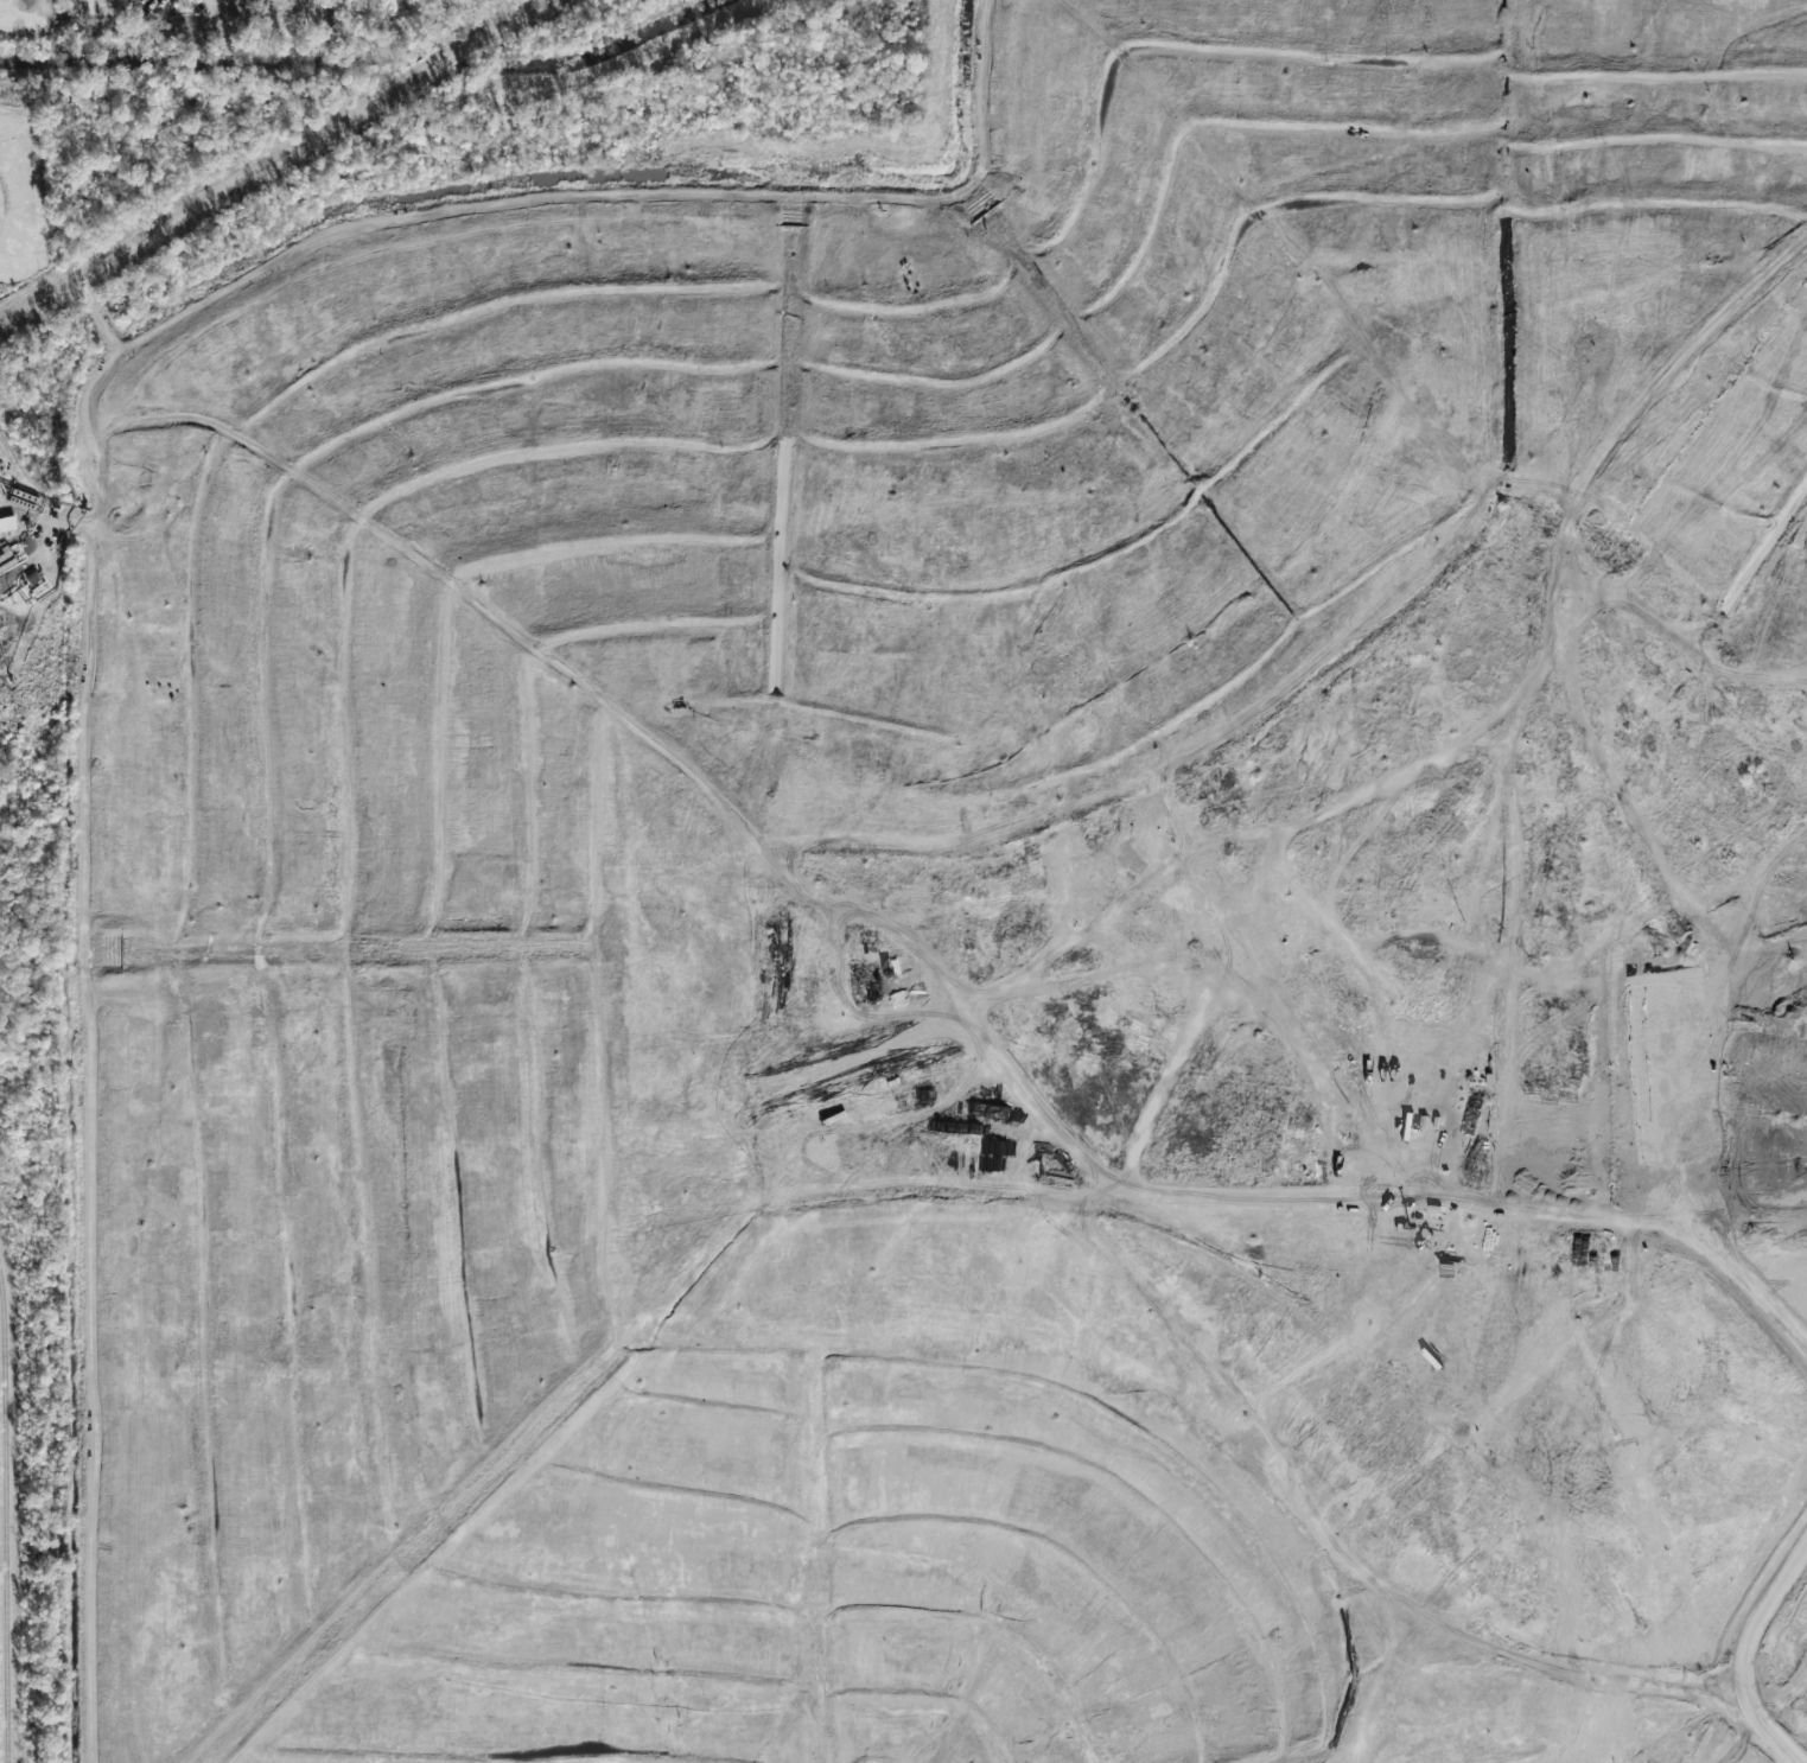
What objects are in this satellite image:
road: (992, 91)
road: (1799, 141)
road: (274, 161)
road: (450, 224)
road: (14, 489)
building: (0, 501)
road: (51, 518)
building: (7, 523)
landfill: (967, 930)
road: (1682, 1105)
road: (97, 1147)
railway: (8, 1510)

